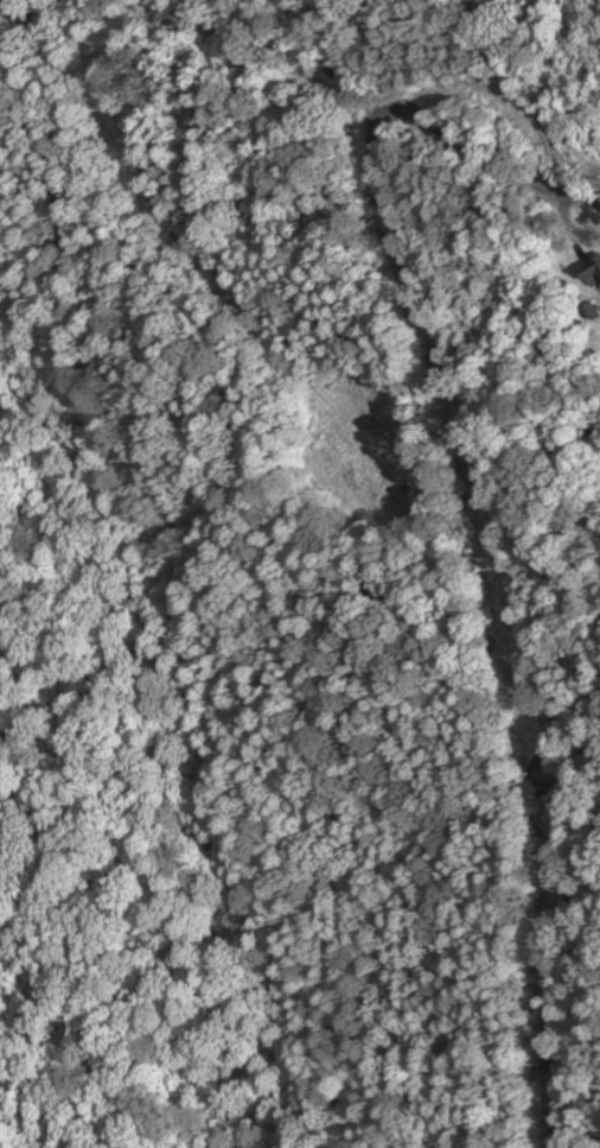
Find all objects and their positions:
road: (522, 107)
road: (464, 150)
building: (592, 274)
building: (589, 311)
road: (521, 616)

